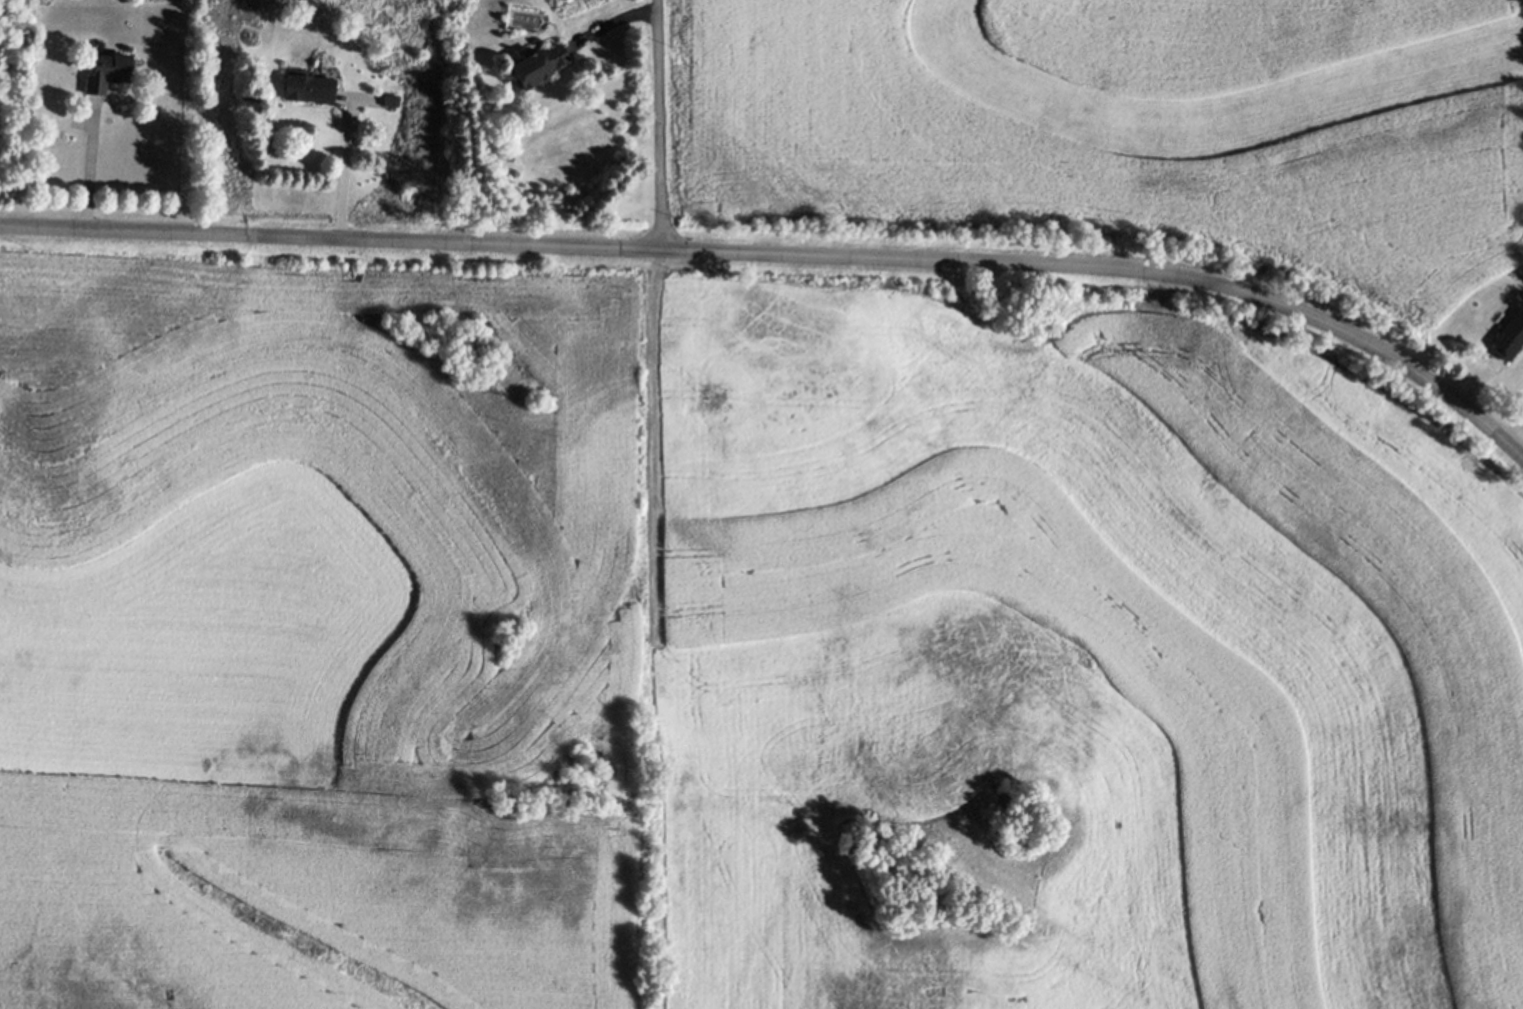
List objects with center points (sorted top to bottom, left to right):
building: (537, 67)
building: (107, 72)
building: (308, 89)
building: (391, 100)
building: (25, 116)
road: (658, 124)
crop: (1131, 132)
road: (344, 167)
road: (92, 169)
road: (786, 255)
building: (1510, 336)
crop: (736, 651)

